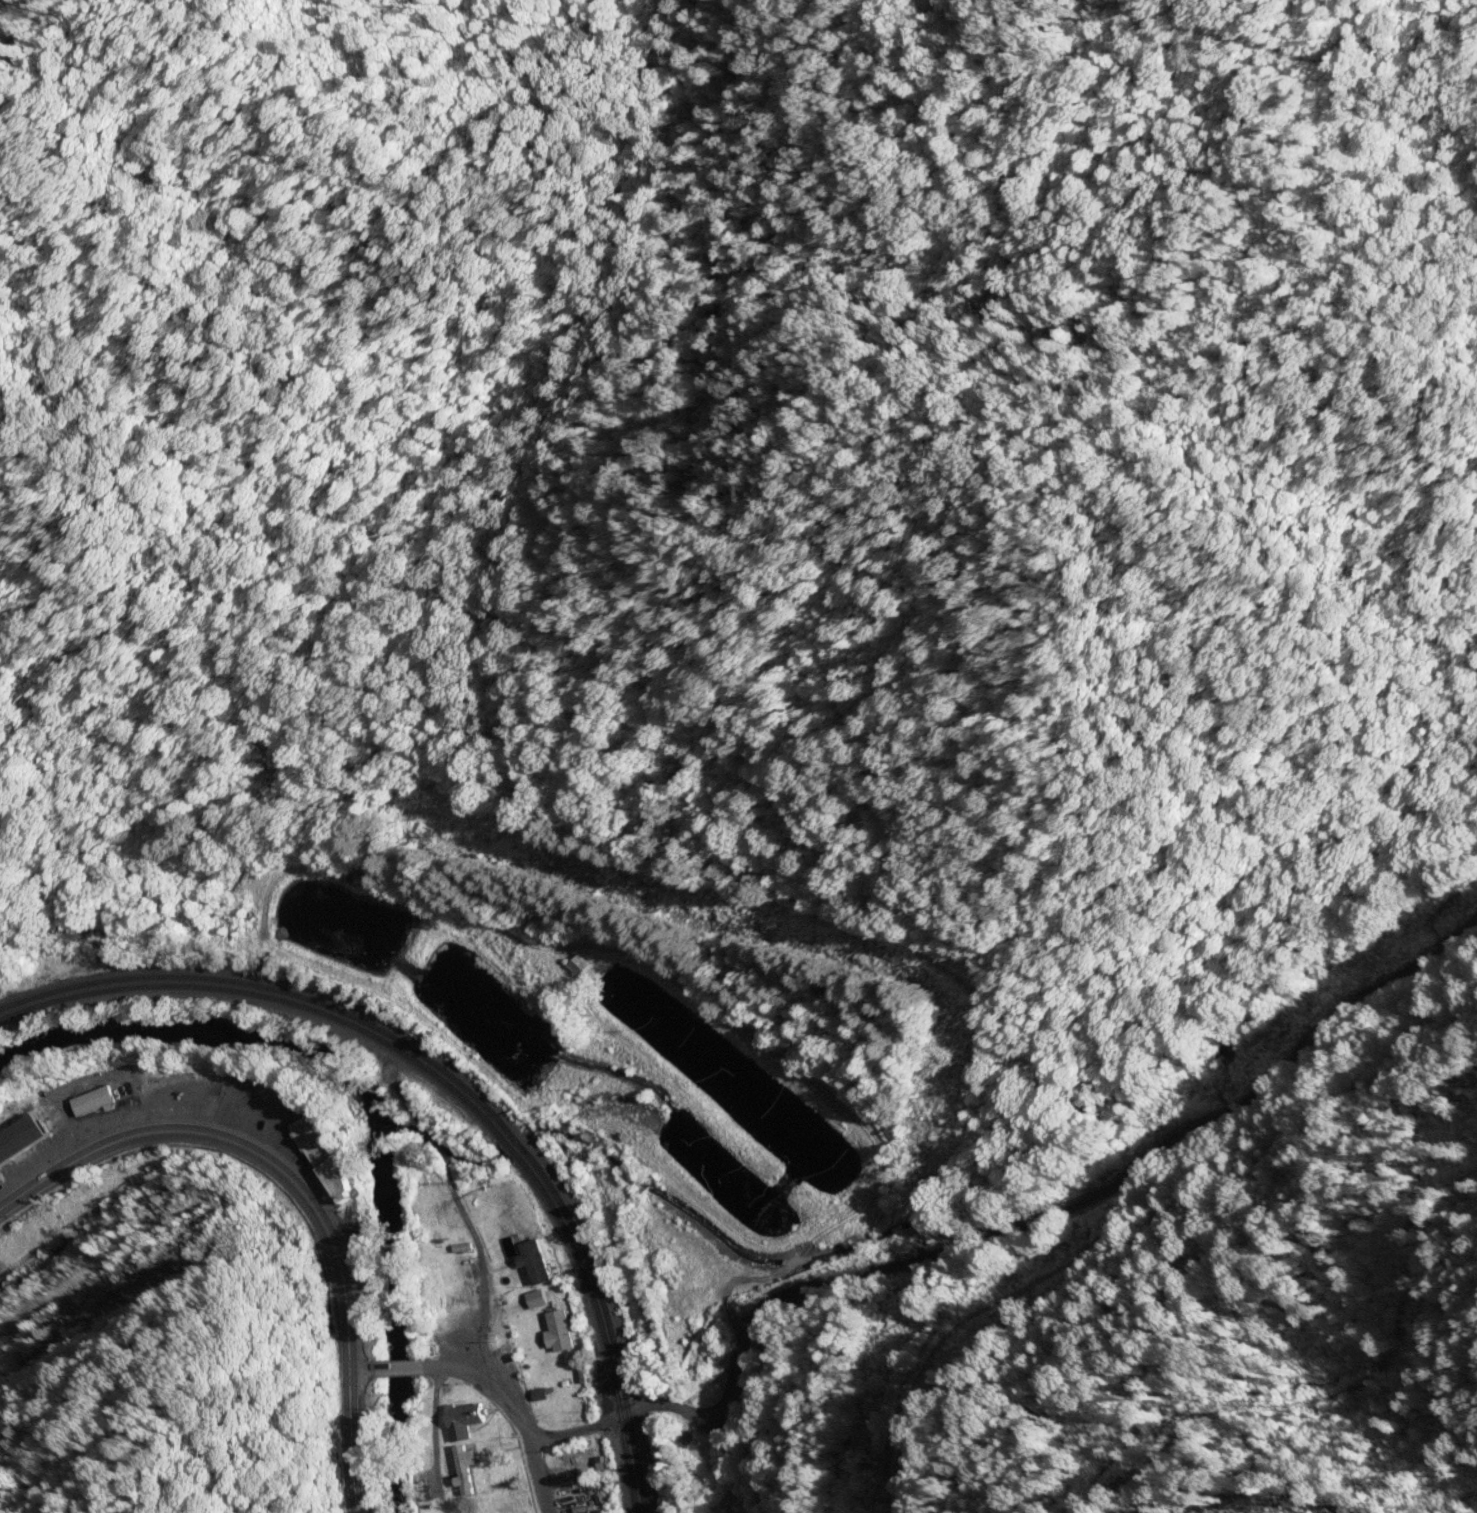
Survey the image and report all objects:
building: (577, 966)
railway: (457, 1080)
railway: (449, 1088)
building: (90, 1101)
river: (379, 1108)
building: (20, 1137)
river: (439, 1145)
river: (514, 1145)
building: (321, 1160)
river: (1010, 1161)
road: (300, 1187)
road: (1029, 1244)
building: (556, 1330)
road: (488, 1387)
building: (463, 1420)
building: (466, 1470)
building: (426, 1493)

